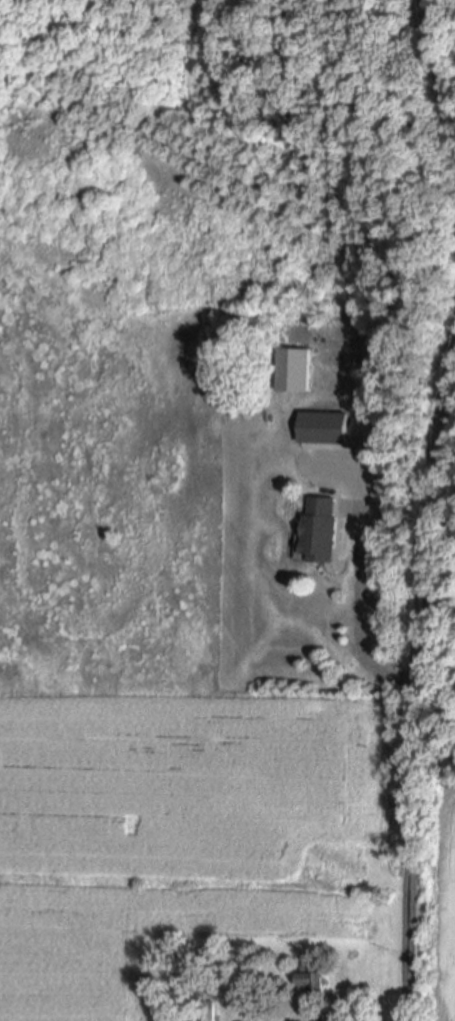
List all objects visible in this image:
road: (436, 71)
building: (293, 369)
road: (305, 395)
building: (241, 411)
building: (322, 427)
building: (319, 533)
road: (357, 613)
road: (419, 682)
building: (254, 963)
building: (312, 981)
building: (235, 994)
building: (206, 1011)

